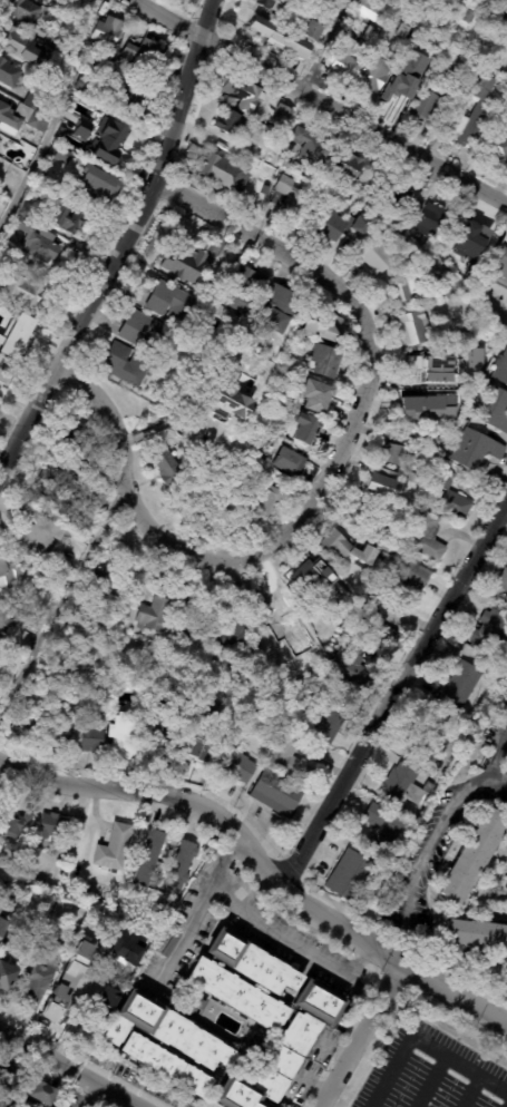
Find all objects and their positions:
building: (378, 0)
building: (388, 0)
building: (272, 6)
building: (323, 6)
building: (400, 6)
building: (486, 7)
building: (22, 10)
building: (367, 10)
building: (466, 16)
building: (432, 19)
building: (504, 21)
building: (309, 30)
building: (387, 30)
building: (106, 31)
building: (365, 33)
building: (280, 39)
building: (52, 40)
building: (18, 45)
building: (138, 52)
building: (417, 53)
building: (341, 58)
building: (457, 67)
building: (47, 72)
building: (373, 74)
building: (8, 75)
building: (407, 75)
building: (80, 85)
building: (125, 88)
building: (240, 91)
road: (323, 99)
building: (425, 99)
building: (477, 105)
road: (55, 114)
building: (23, 115)
building: (280, 117)
building: (228, 121)
building: (255, 129)
building: (497, 131)
building: (107, 136)
building: (64, 137)
building: (311, 149)
building: (495, 149)
building: (252, 153)
building: (61, 156)
building: (222, 174)
building: (348, 174)
building: (94, 188)
building: (390, 195)
building: (255, 196)
building: (289, 198)
building: (2, 202)
building: (368, 209)
building: (65, 221)
building: (425, 221)
building: (342, 225)
building: (467, 235)
building: (32, 236)
road: (125, 244)
building: (445, 248)
building: (373, 258)
building: (183, 264)
building: (22, 265)
building: (500, 266)
building: (37, 272)
building: (479, 283)
building: (215, 284)
building: (403, 288)
building: (447, 288)
building: (243, 290)
building: (20, 291)
building: (166, 301)
building: (275, 308)
building: (10, 326)
building: (330, 329)
building: (410, 329)
building: (140, 331)
building: (328, 363)
building: (124, 366)
building: (500, 370)
building: (6, 372)
building: (425, 374)
building: (316, 396)
building: (223, 402)
building: (409, 403)
building: (493, 409)
building: (441, 421)
building: (303, 429)
building: (429, 437)
building: (71, 438)
building: (475, 451)
building: (391, 454)
building: (163, 462)
building: (287, 462)
road: (325, 468)
building: (57, 478)
building: (412, 479)
building: (381, 484)
building: (447, 496)
building: (104, 497)
building: (263, 500)
building: (359, 512)
building: (35, 537)
building: (426, 537)
building: (383, 541)
building: (334, 545)
building: (374, 559)
building: (404, 577)
building: (309, 578)
building: (8, 580)
building: (503, 580)
building: (98, 581)
building: (505, 598)
road: (59, 604)
building: (81, 610)
building: (337, 614)
building: (152, 615)
building: (376, 621)
building: (4, 624)
building: (36, 626)
building: (230, 628)
building: (488, 634)
building: (184, 636)
building: (97, 660)
building: (352, 665)
building: (217, 667)
building: (458, 685)
road: (392, 692)
building: (0, 707)
building: (23, 723)
building: (322, 725)
building: (157, 731)
building: (57, 737)
building: (90, 738)
building: (125, 738)
building: (201, 744)
building: (430, 752)
building: (290, 764)
building: (237, 767)
road: (498, 775)
building: (401, 787)
road: (160, 791)
building: (275, 794)
building: (16, 823)
building: (51, 829)
building: (382, 829)
building: (116, 846)
road: (429, 846)
building: (470, 854)
building: (147, 859)
building: (179, 868)
building: (30, 874)
building: (348, 876)
building: (0, 904)
building: (1, 908)
building: (2, 924)
building: (175, 924)
road: (267, 928)
building: (475, 933)
road: (185, 935)
building: (164, 941)
building: (10, 942)
building: (125, 949)
road: (394, 961)
building: (250, 963)
building: (124, 964)
building: (6, 977)
building: (38, 979)
building: (121, 979)
building: (66, 981)
building: (107, 995)
building: (235, 995)
building: (191, 1001)
building: (315, 1002)
building: (164, 1032)
road: (363, 1038)
road: (422, 1040)
road: (68, 1066)
building: (163, 1066)
building: (269, 1067)
building: (8, 1070)
parking lot: (432, 1074)
building: (40, 1090)
road: (471, 1091)
road: (81, 1093)
building: (1, 1096)

